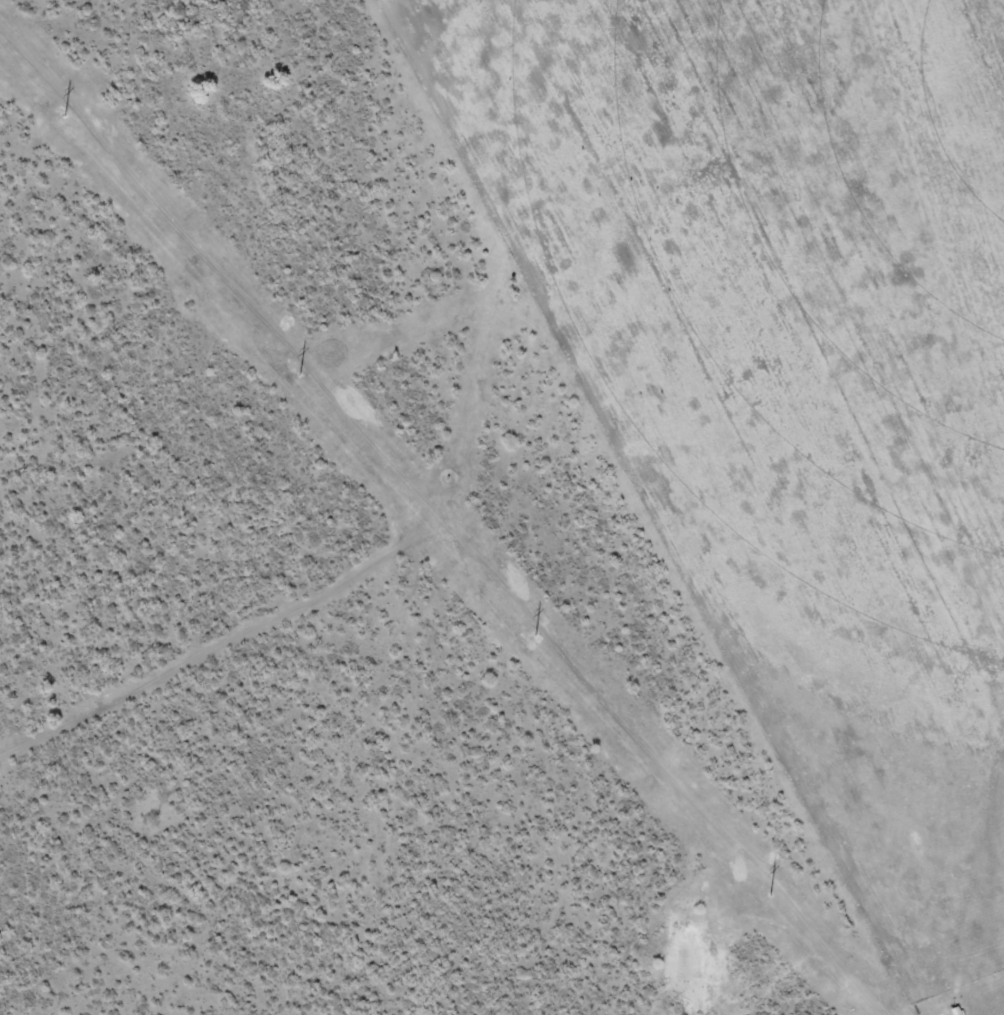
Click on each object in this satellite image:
power tower: (58, 108)
power tower: (293, 368)
power tower: (527, 628)
power tower: (760, 890)

